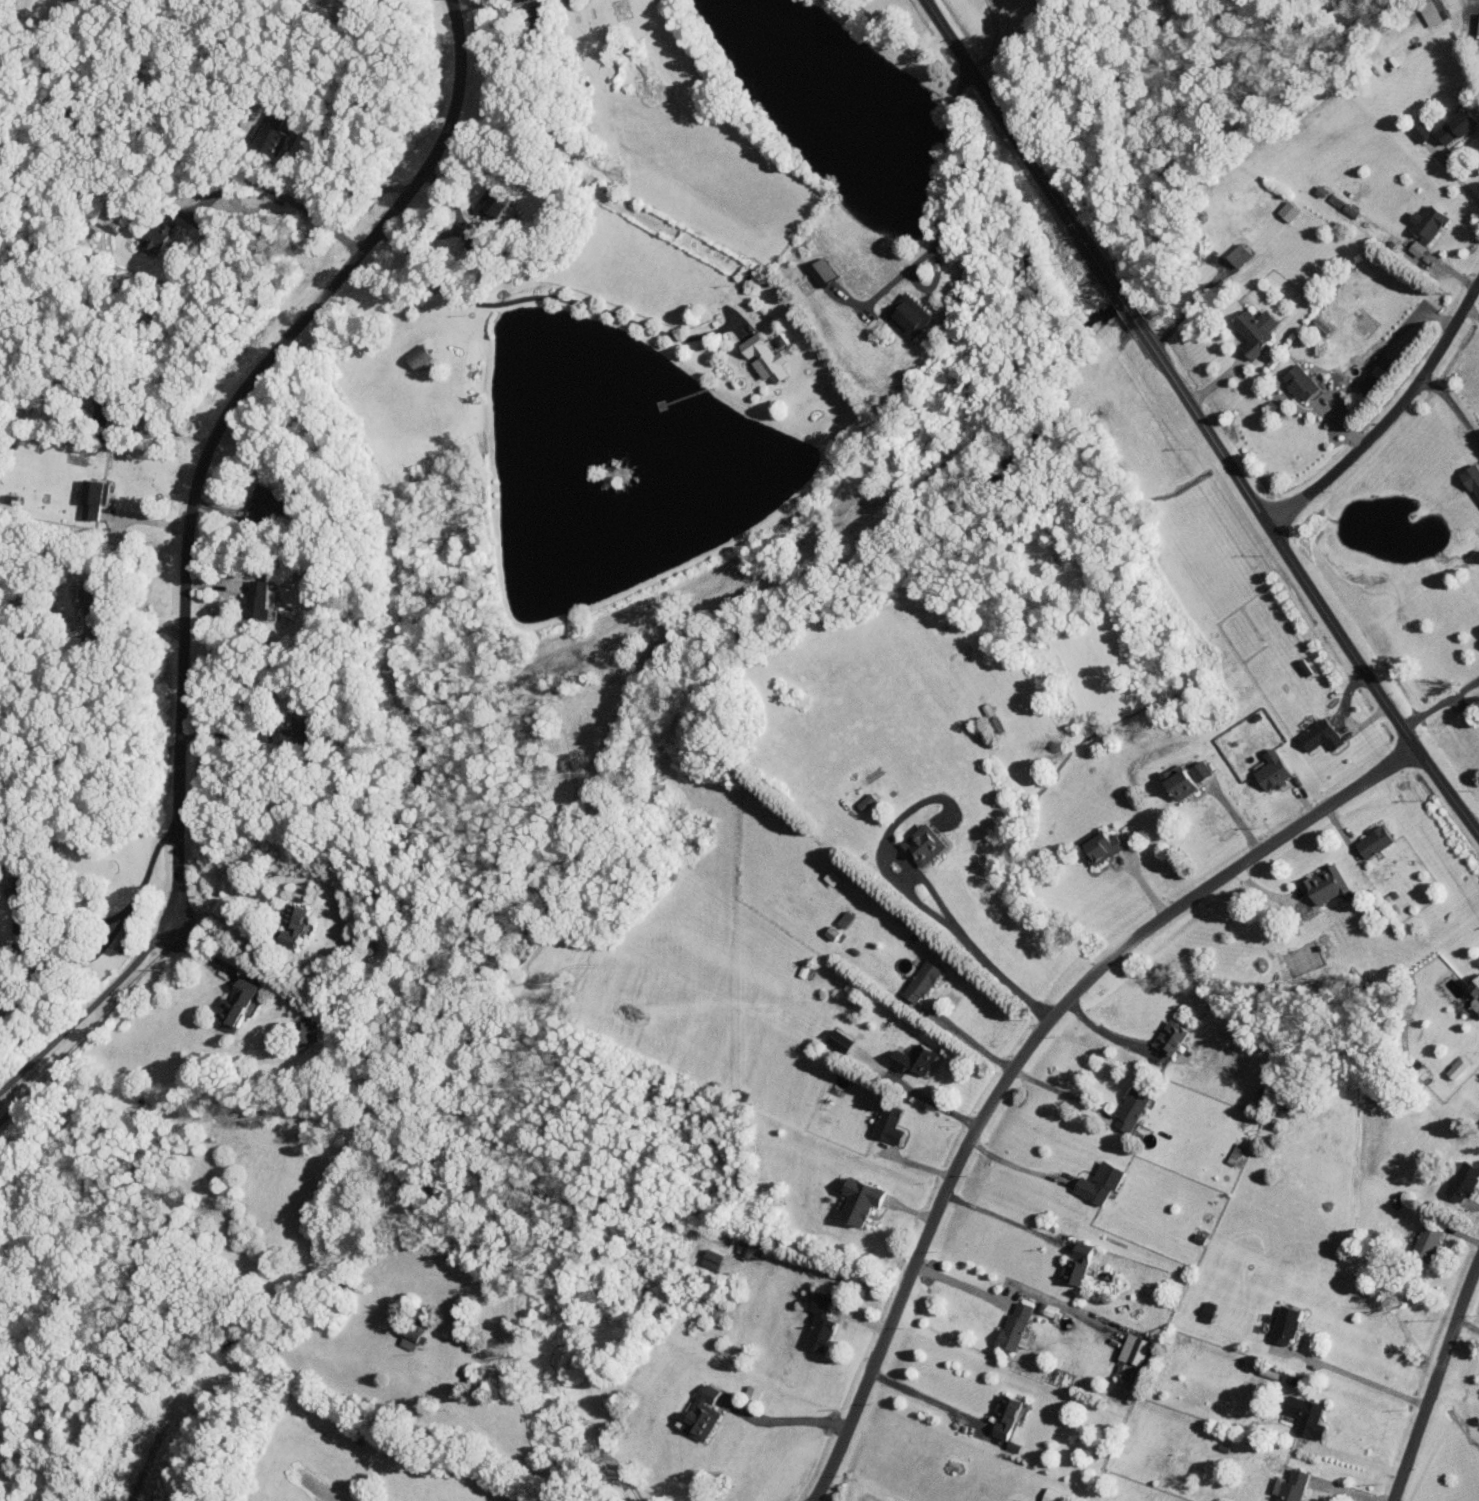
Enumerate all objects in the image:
building: (7, 4)
road: (483, 4)
building: (1433, 12)
road: (993, 38)
building: (1459, 125)
building: (1421, 131)
building: (270, 134)
road: (333, 170)
road: (1454, 173)
road: (944, 194)
road: (279, 197)
building: (494, 201)
building: (1290, 210)
building: (1432, 222)
building: (156, 237)
building: (1418, 248)
building: (1241, 254)
building: (822, 271)
road: (544, 297)
road: (1191, 301)
road: (1473, 312)
building: (909, 314)
road: (1407, 321)
building: (1320, 326)
building: (1257, 330)
building: (781, 339)
building: (420, 355)
building: (765, 357)
building: (1301, 381)
building: (1371, 383)
road: (1454, 407)
road: (1201, 414)
road: (1390, 418)
road: (211, 425)
building: (1472, 477)
building: (94, 497)
building: (266, 500)
building: (259, 598)
road: (133, 631)
road: (1438, 688)
building: (298, 729)
building: (1322, 735)
building: (1274, 770)
building: (1188, 778)
building: (867, 802)
building: (1376, 841)
building: (926, 844)
building: (1103, 847)
building: (1326, 884)
road: (217, 916)
road: (53, 920)
building: (293, 924)
road: (963, 948)
road: (209, 964)
building: (923, 981)
building: (1475, 993)
building: (237, 1005)
road: (88, 1007)
road: (90, 1025)
building: (306, 1031)
road: (1104, 1031)
building: (1172, 1037)
road: (973, 1038)
road: (1029, 1052)
building: (916, 1059)
building: (1459, 1066)
road: (1064, 1094)
road: (934, 1102)
building: (1132, 1110)
building: (890, 1123)
building: (1235, 1154)
road: (1023, 1157)
building: (1464, 1181)
building: (1101, 1184)
building: (862, 1201)
road: (1006, 1219)
building: (1428, 1243)
building: (751, 1252)
building: (713, 1259)
building: (1077, 1264)
road: (960, 1284)
building: (821, 1321)
building: (1016, 1325)
building: (1286, 1325)
road: (1471, 1326)
building: (414, 1334)
building: (1133, 1357)
road: (1357, 1378)
road: (1439, 1389)
building: (754, 1393)
road: (928, 1401)
building: (704, 1413)
building: (1006, 1415)
building: (1307, 1416)
road: (784, 1419)
road: (1359, 1459)
building: (1293, 1486)
building: (1053, 1495)

